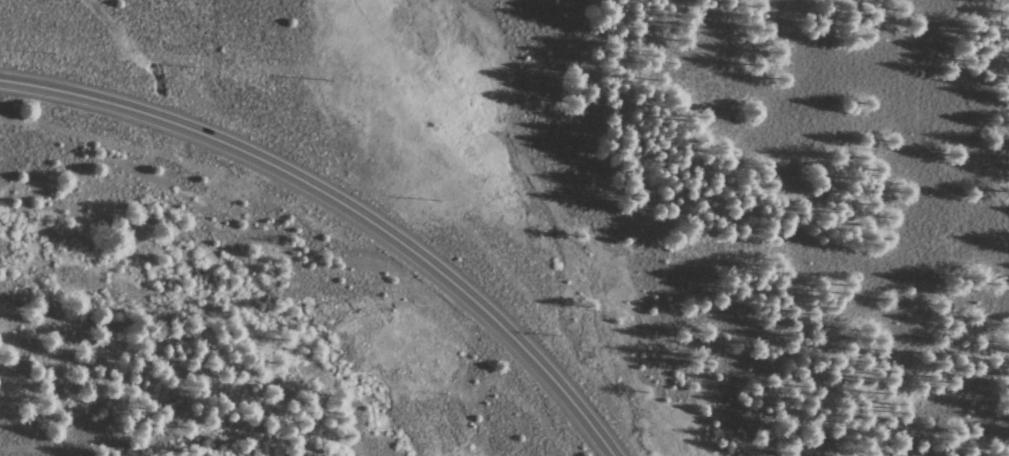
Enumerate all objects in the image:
power tower: (325, 81)
road: (917, 122)
road: (342, 206)
road: (26, 453)

